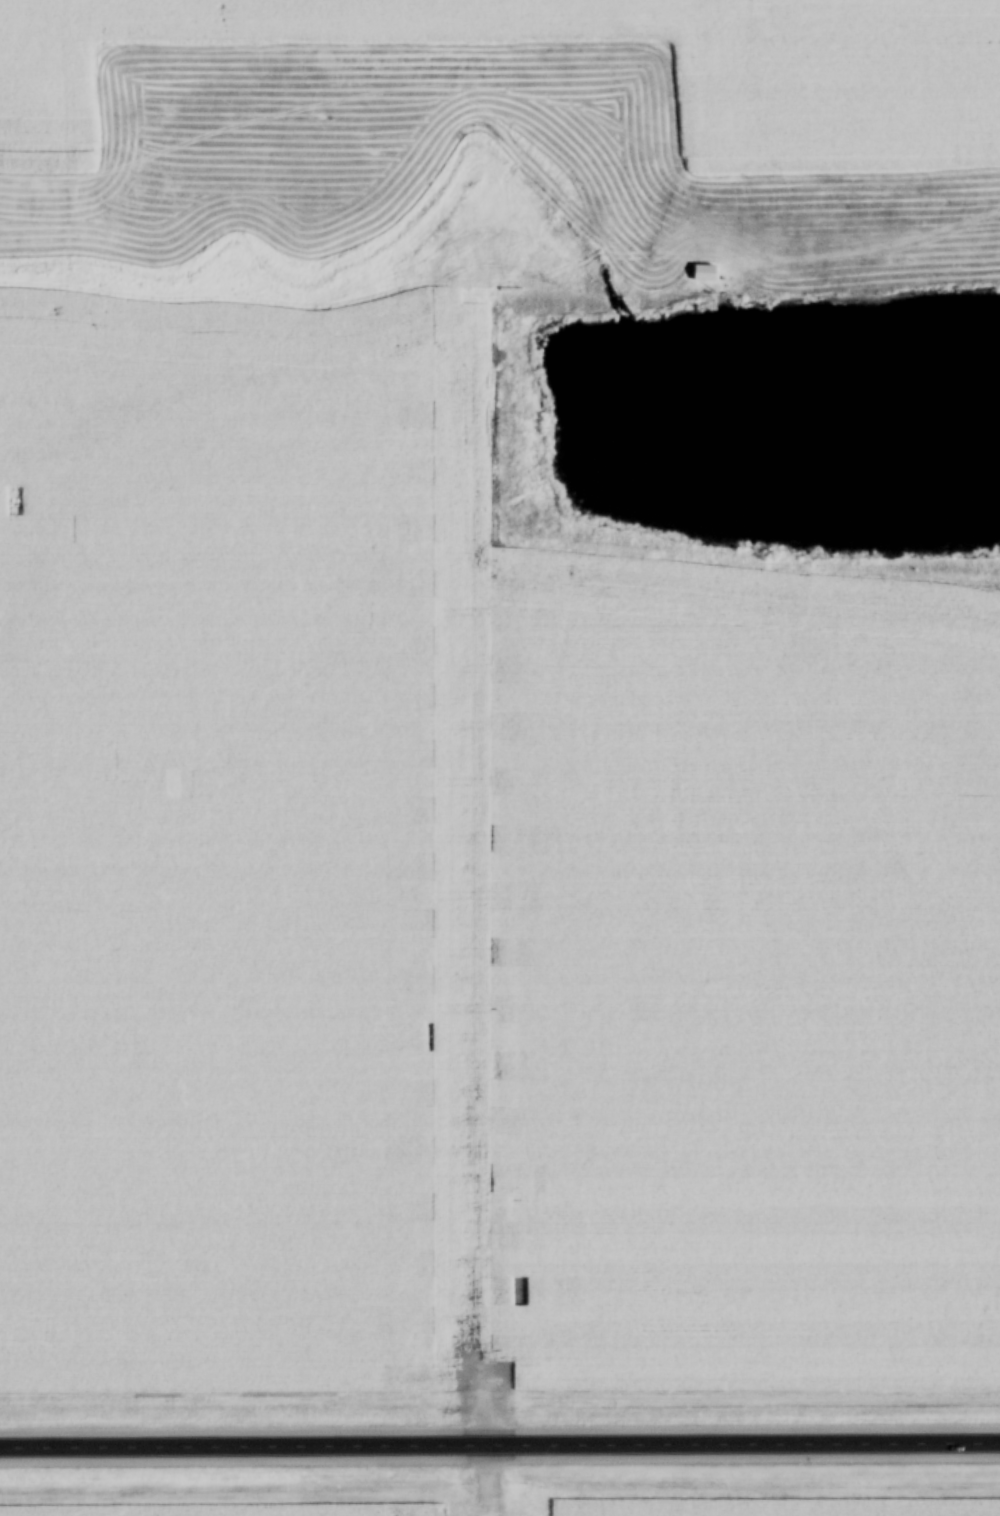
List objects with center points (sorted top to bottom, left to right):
road: (500, 1434)

